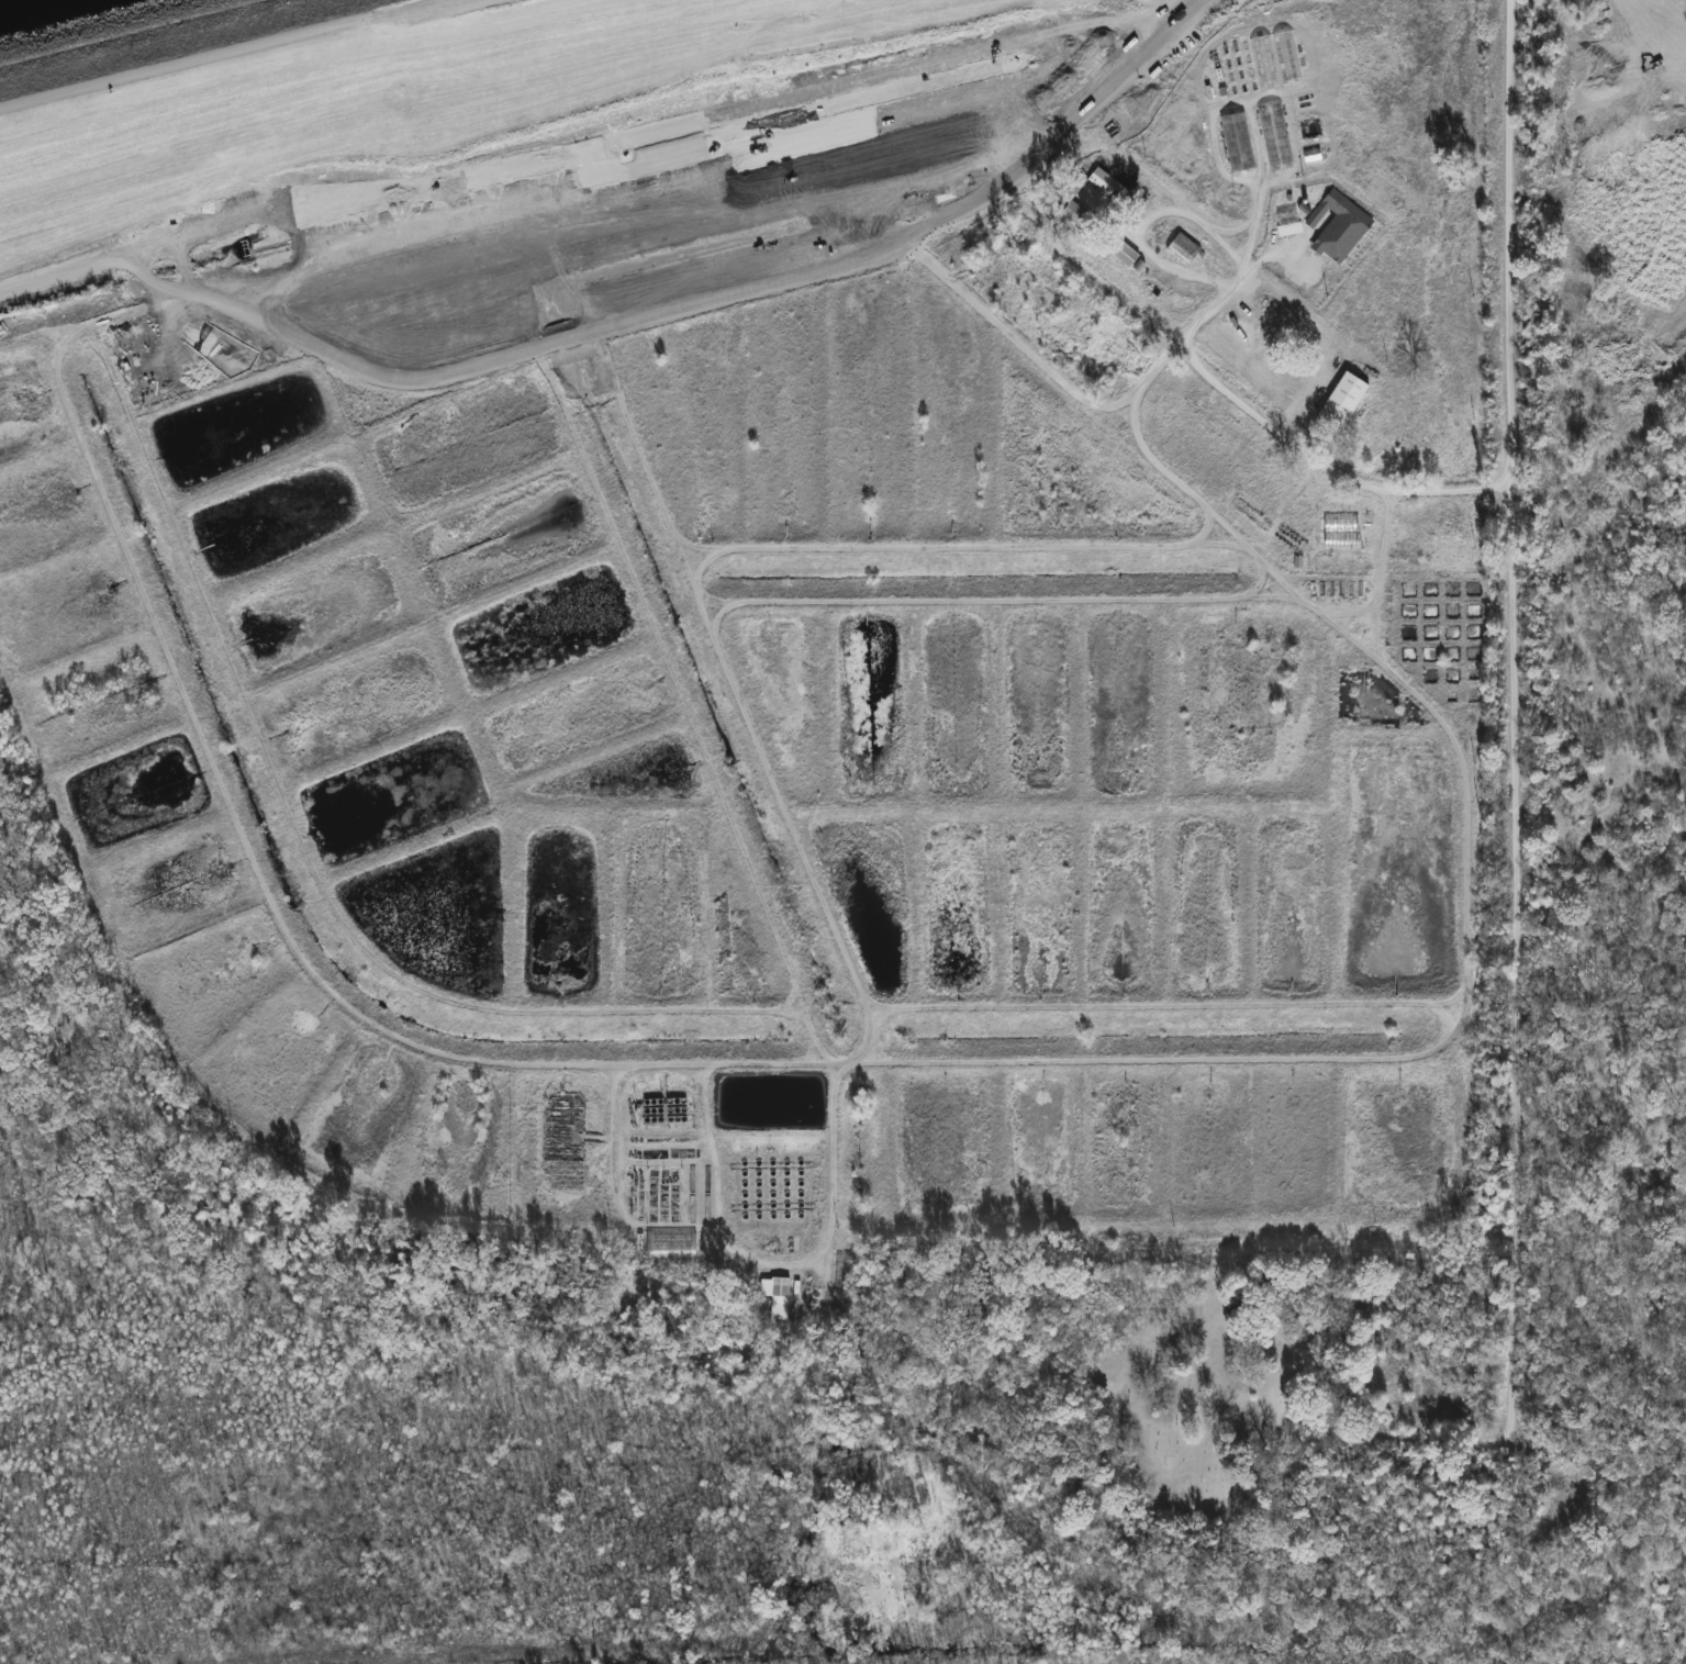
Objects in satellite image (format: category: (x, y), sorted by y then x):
road: (219, 53)
building: (1274, 63)
dam: (371, 86)
building: (1238, 144)
road: (585, 148)
building: (1065, 198)
building: (1339, 228)
building: (1288, 231)
road: (1138, 243)
building: (1119, 252)
building: (1183, 252)
road: (1247, 400)
building: (1410, 602)
aquafarm: (814, 681)
road: (1512, 808)
building: (566, 1129)
building: (777, 1297)
park: (1190, 1401)
road: (1421, 1441)

